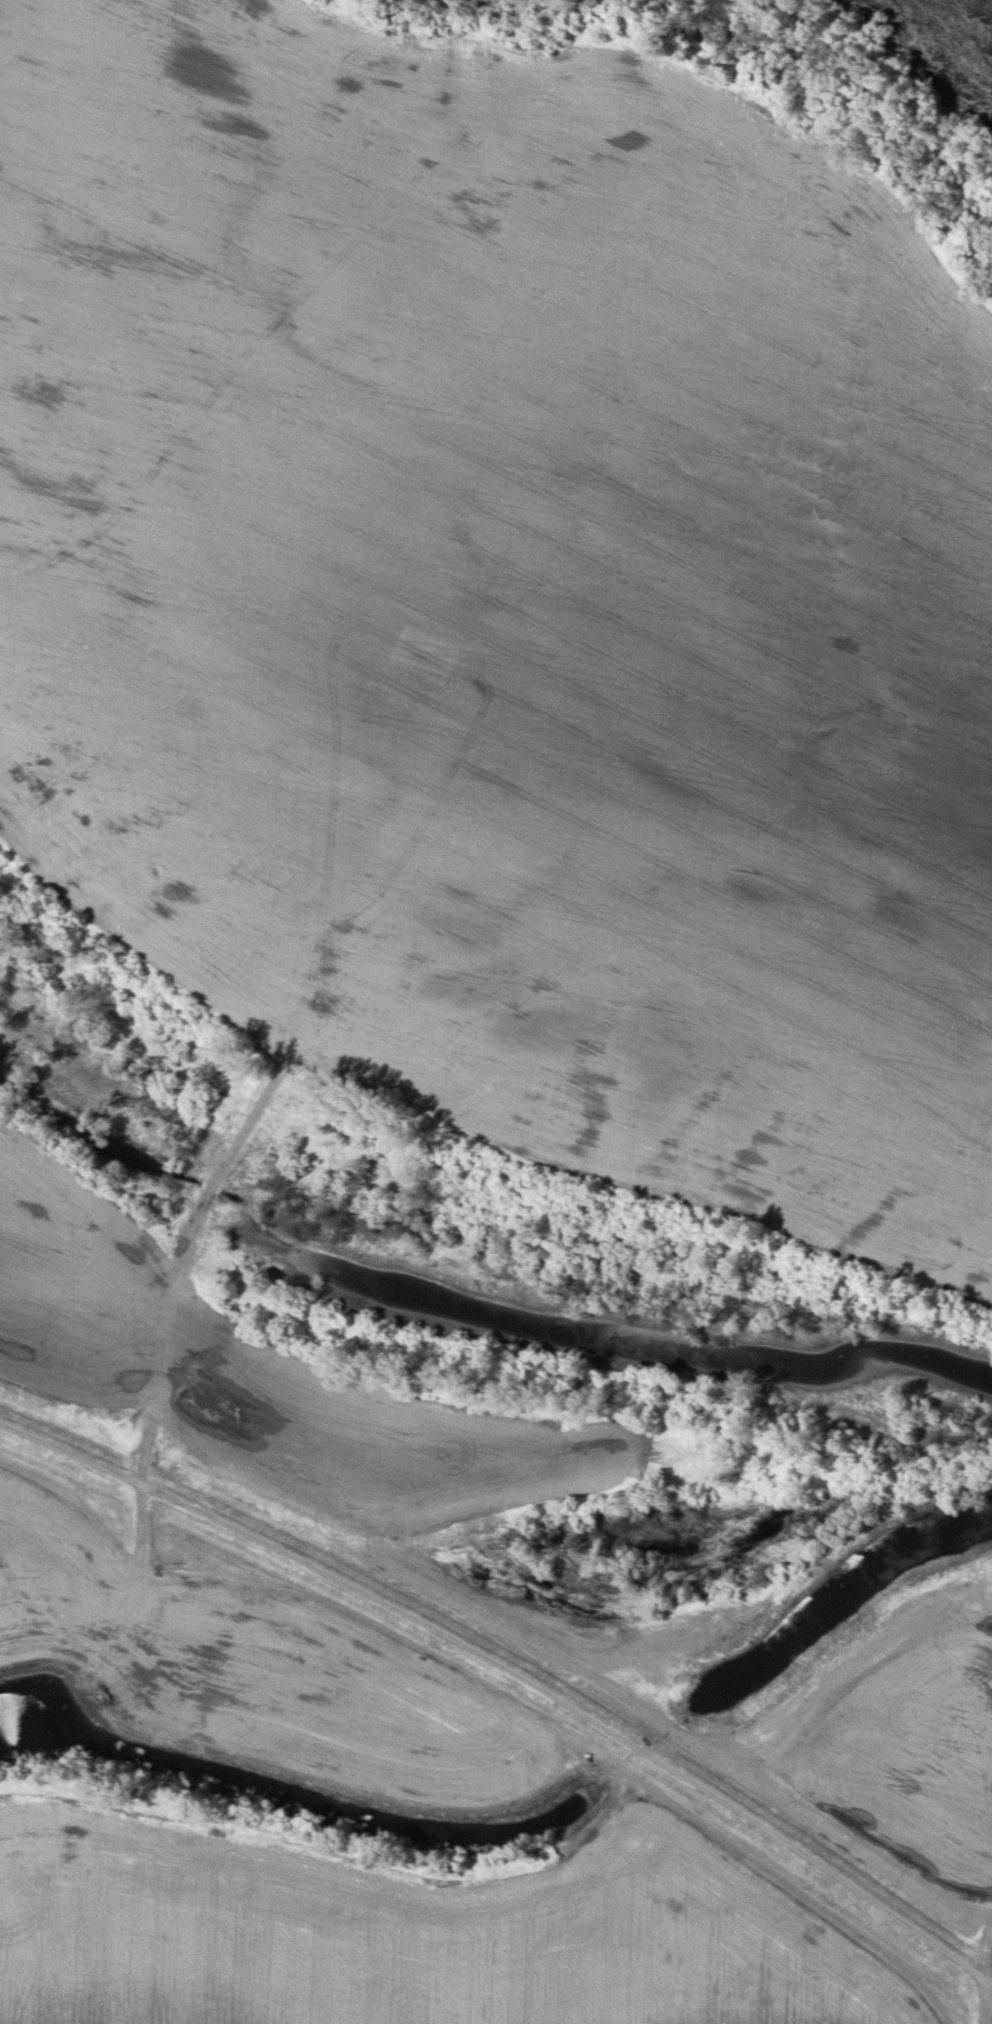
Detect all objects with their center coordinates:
crop: (511, 596)
crop: (272, 1382)
crop: (259, 1666)
road: (513, 1670)
crop: (903, 1760)
crop: (409, 1932)

